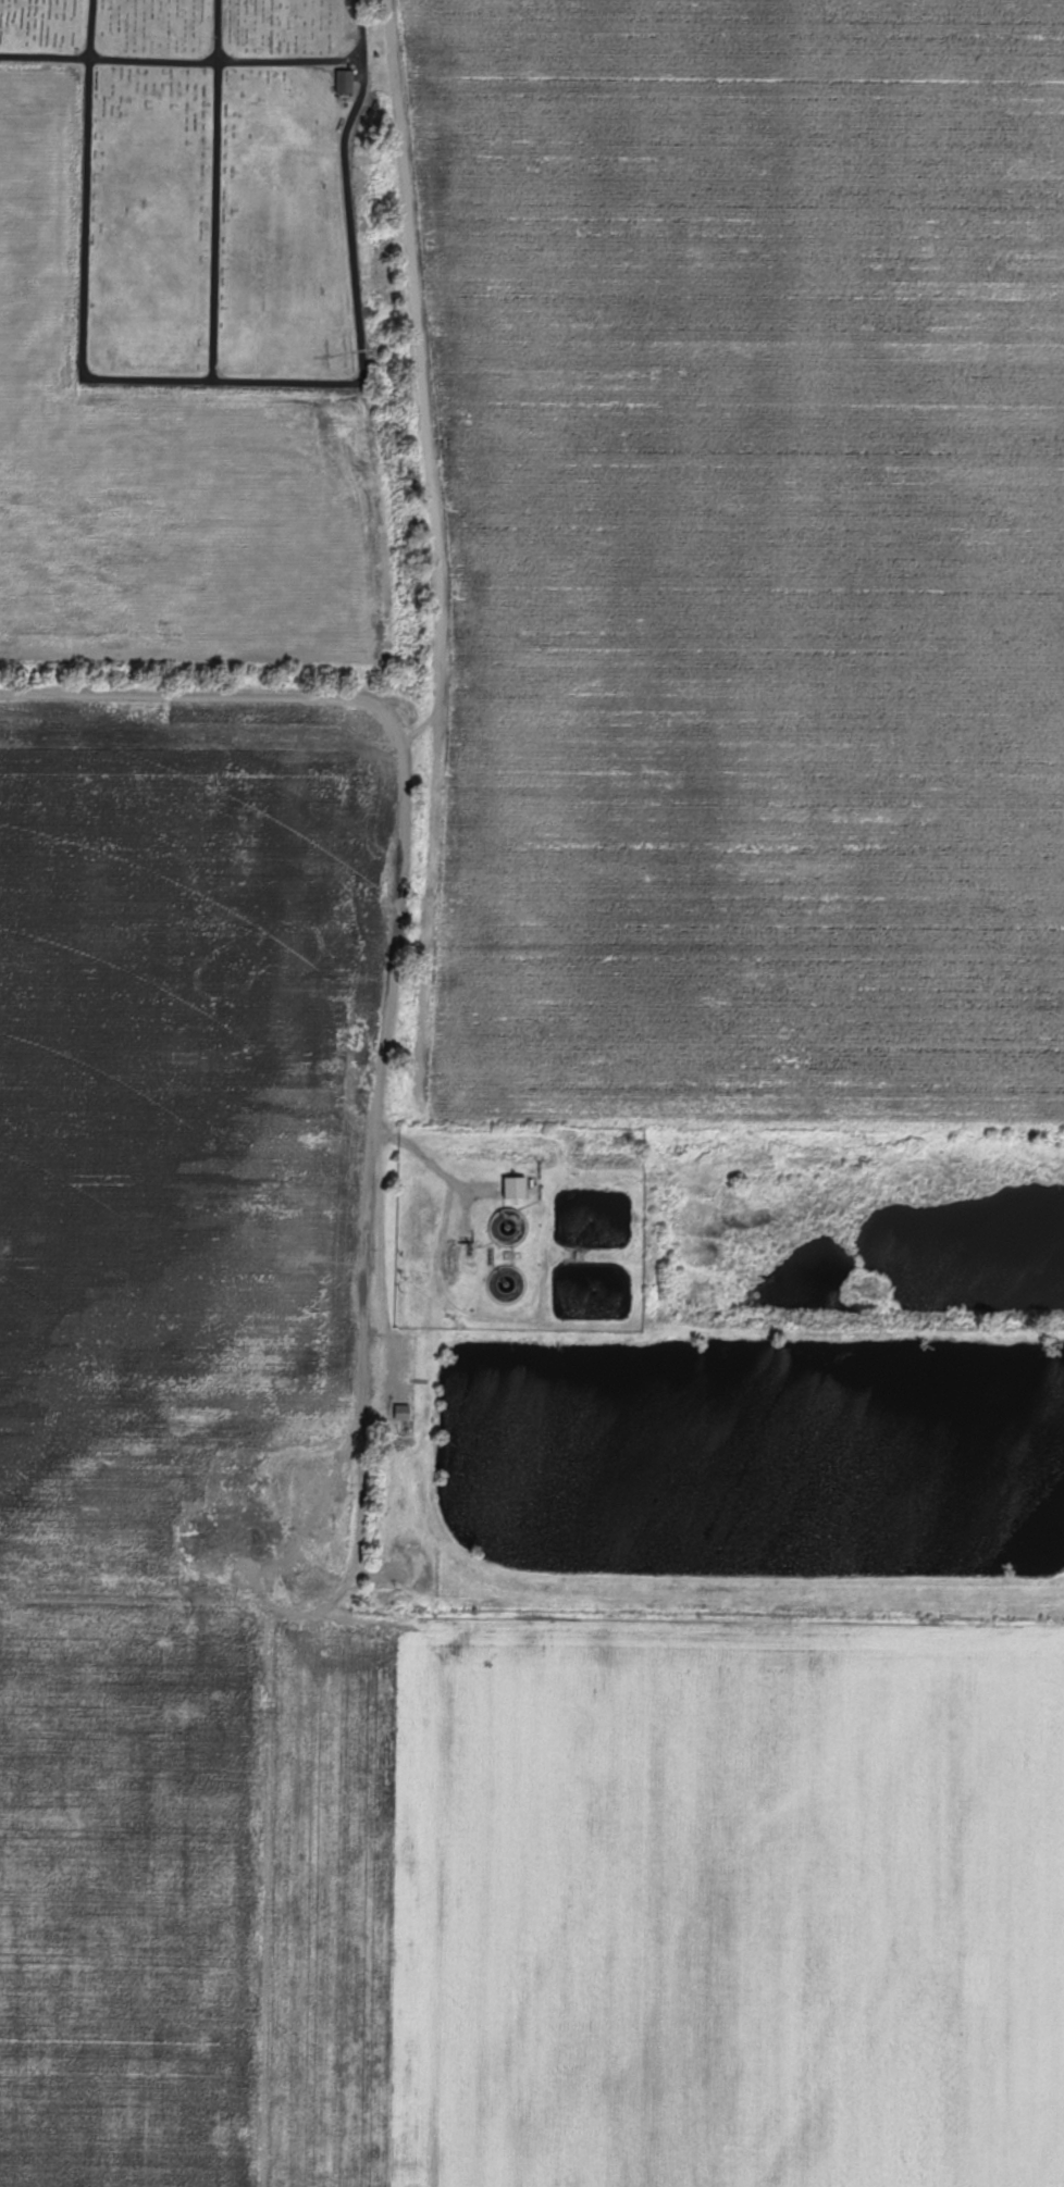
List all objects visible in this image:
road: (91, 27)
road: (45, 54)
building: (346, 82)
park: (216, 185)
road: (180, 697)
road: (385, 1146)
building: (517, 1188)
building: (404, 1413)

